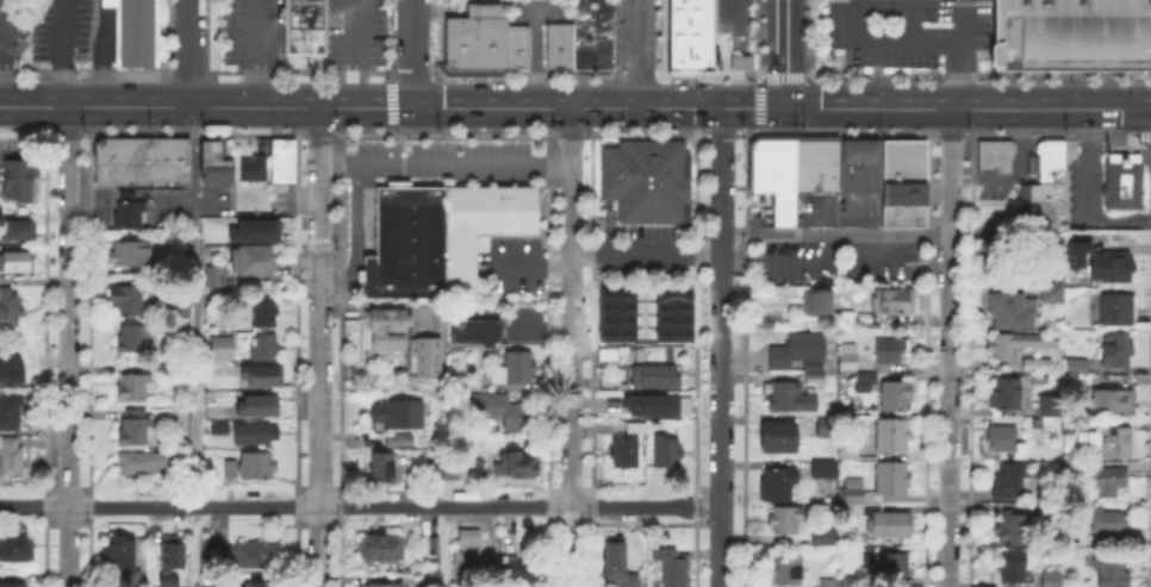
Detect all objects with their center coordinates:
road: (1, 13)
road: (744, 15)
road: (914, 20)
road: (968, 20)
building: (303, 29)
building: (137, 32)
building: (688, 35)
building: (1072, 37)
road: (867, 39)
building: (584, 40)
road: (940, 40)
building: (485, 44)
road: (106, 52)
road: (187, 52)
road: (4, 54)
road: (64, 54)
road: (260, 54)
road: (360, 54)
road: (412, 54)
road: (640, 54)
road: (788, 54)
building: (739, 61)
road: (966, 75)
road: (393, 108)
traffic signals: (788, 108)
road: (869, 108)
road: (958, 110)
road: (1027, 110)
road: (1120, 110)
road: (760, 120)
road: (640, 133)
road: (720, 133)
road: (835, 133)
road: (939, 133)
road: (580, 135)
building: (997, 158)
building: (139, 160)
building: (284, 163)
building: (214, 164)
building: (815, 164)
building: (858, 164)
road: (446, 168)
road: (193, 169)
building: (255, 170)
building: (773, 175)
building: (18, 180)
building: (646, 180)
building: (901, 181)
building: (1125, 185)
building: (1047, 189)
road: (1089, 193)
building: (129, 211)
building: (479, 224)
building: (253, 229)
building: (18, 230)
road: (885, 232)
road: (354, 233)
building: (406, 245)
building: (201, 249)
road: (646, 252)
building: (130, 254)
building: (1074, 255)
building: (14, 261)
building: (253, 261)
road: (530, 262)
building: (1110, 268)
building: (218, 277)
building: (1053, 294)
building: (127, 299)
building: (894, 302)
building: (816, 304)
building: (10, 307)
building: (1119, 310)
building: (263, 312)
building: (1012, 312)
building: (657, 321)
building: (764, 324)
building: (1144, 329)
building: (388, 330)
building: (477, 333)
building: (132, 337)
building: (609, 337)
road: (68, 346)
road: (721, 346)
building: (1012, 346)
road: (319, 348)
road: (571, 348)
road: (948, 348)
building: (222, 349)
building: (263, 349)
building: (1116, 350)
building: (801, 352)
building: (890, 352)
building: (608, 355)
building: (637, 357)
building: (425, 358)
building: (848, 358)
building: (1038, 366)
building: (12, 367)
building: (1077, 367)
building: (519, 369)
building: (167, 371)
building: (653, 376)
building: (262, 377)
building: (815, 379)
building: (867, 381)
building: (137, 386)
building: (1007, 395)
building: (895, 396)
building: (790, 399)
building: (655, 404)
building: (1109, 406)
building: (260, 407)
road: (195, 410)
building: (1050, 410)
building: (498, 411)
building: (10, 412)
building: (388, 416)
building: (136, 429)
building: (636, 429)
building: (827, 430)
building: (248, 435)
building: (889, 437)
building: (780, 439)
building: (1003, 441)
building: (400, 442)
building: (1113, 447)
building: (848, 448)
building: (664, 450)
building: (624, 454)
building: (12, 455)
building: (149, 462)
building: (517, 464)
building: (257, 466)
building: (1071, 468)
building: (382, 469)
building: (231, 470)
building: (825, 470)
building: (440, 472)
building: (1108, 481)
building: (1009, 483)
building: (778, 485)
road: (693, 498)
building: (861, 500)
road: (360, 506)
building: (785, 519)
building: (1109, 524)
building: (1010, 530)
building: (821, 532)
building: (830, 543)
building: (467, 545)
road: (443, 547)
building: (431, 548)
building: (17, 549)
building: (381, 549)
building: (169, 550)
building: (120, 554)
building: (251, 555)
building: (615, 562)
building: (885, 566)
building: (671, 568)
building: (1012, 568)
building: (786, 570)
building: (518, 572)
building: (1110, 572)
building: (163, 579)
building: (1052, 580)
building: (433, 581)
building: (633, 581)
building: (13, 583)
building: (829, 583)
building: (260, 585)
building: (384, 586)

